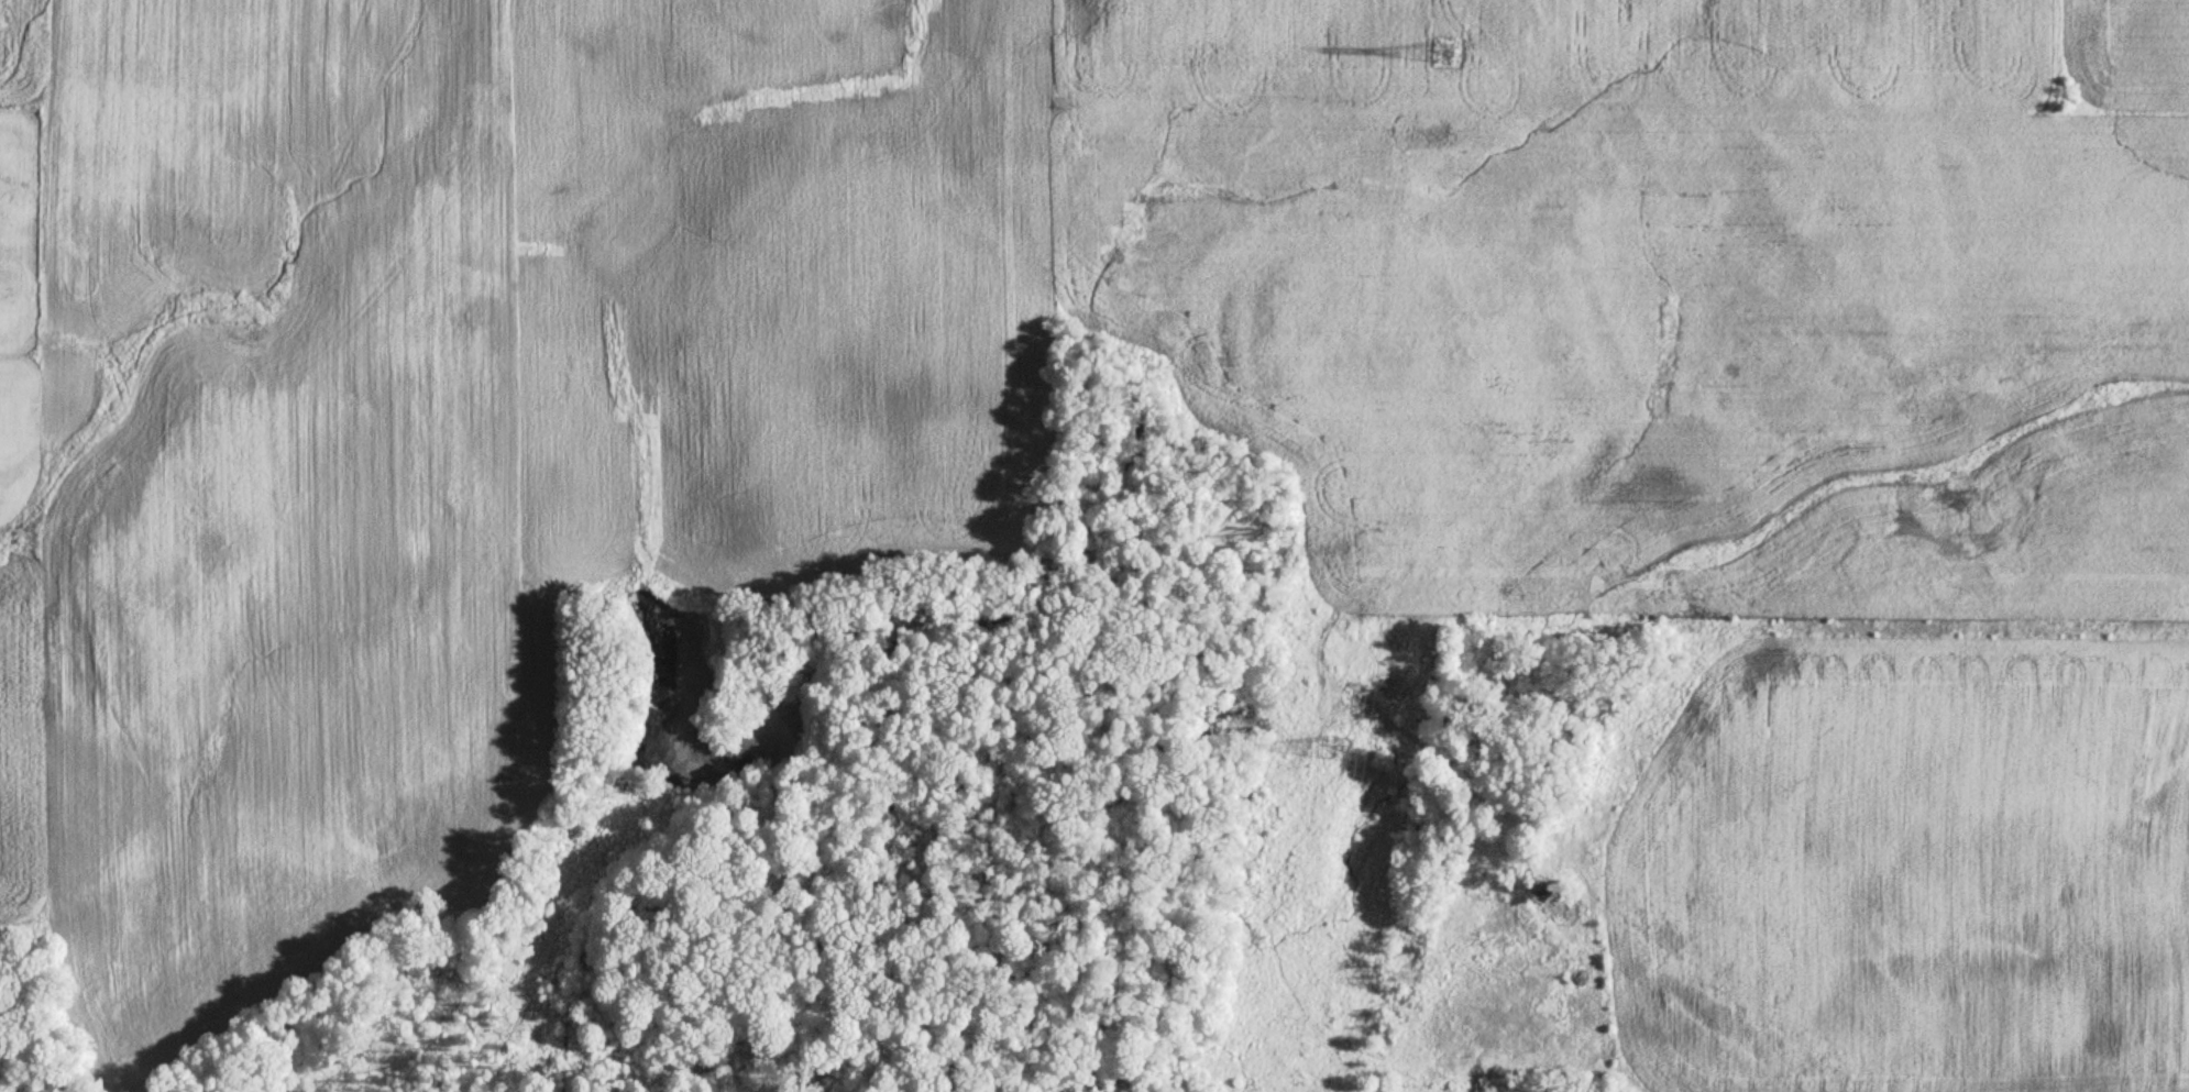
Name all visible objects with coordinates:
power tower: (1442, 47)
power tower: (1341, 752)

